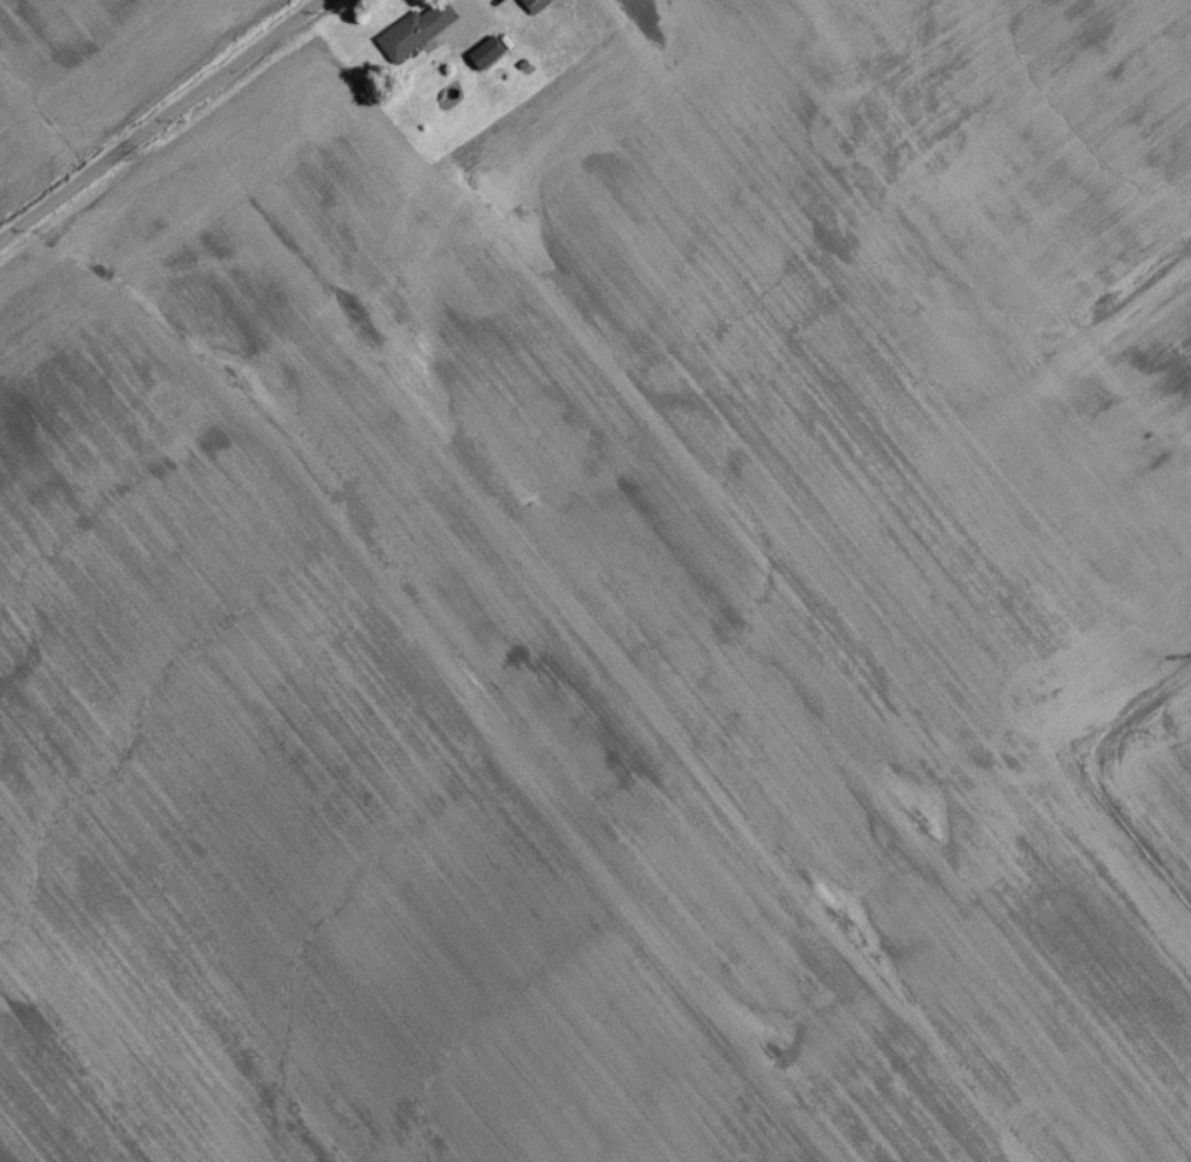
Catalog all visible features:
building: (418, 39)
road: (164, 124)

